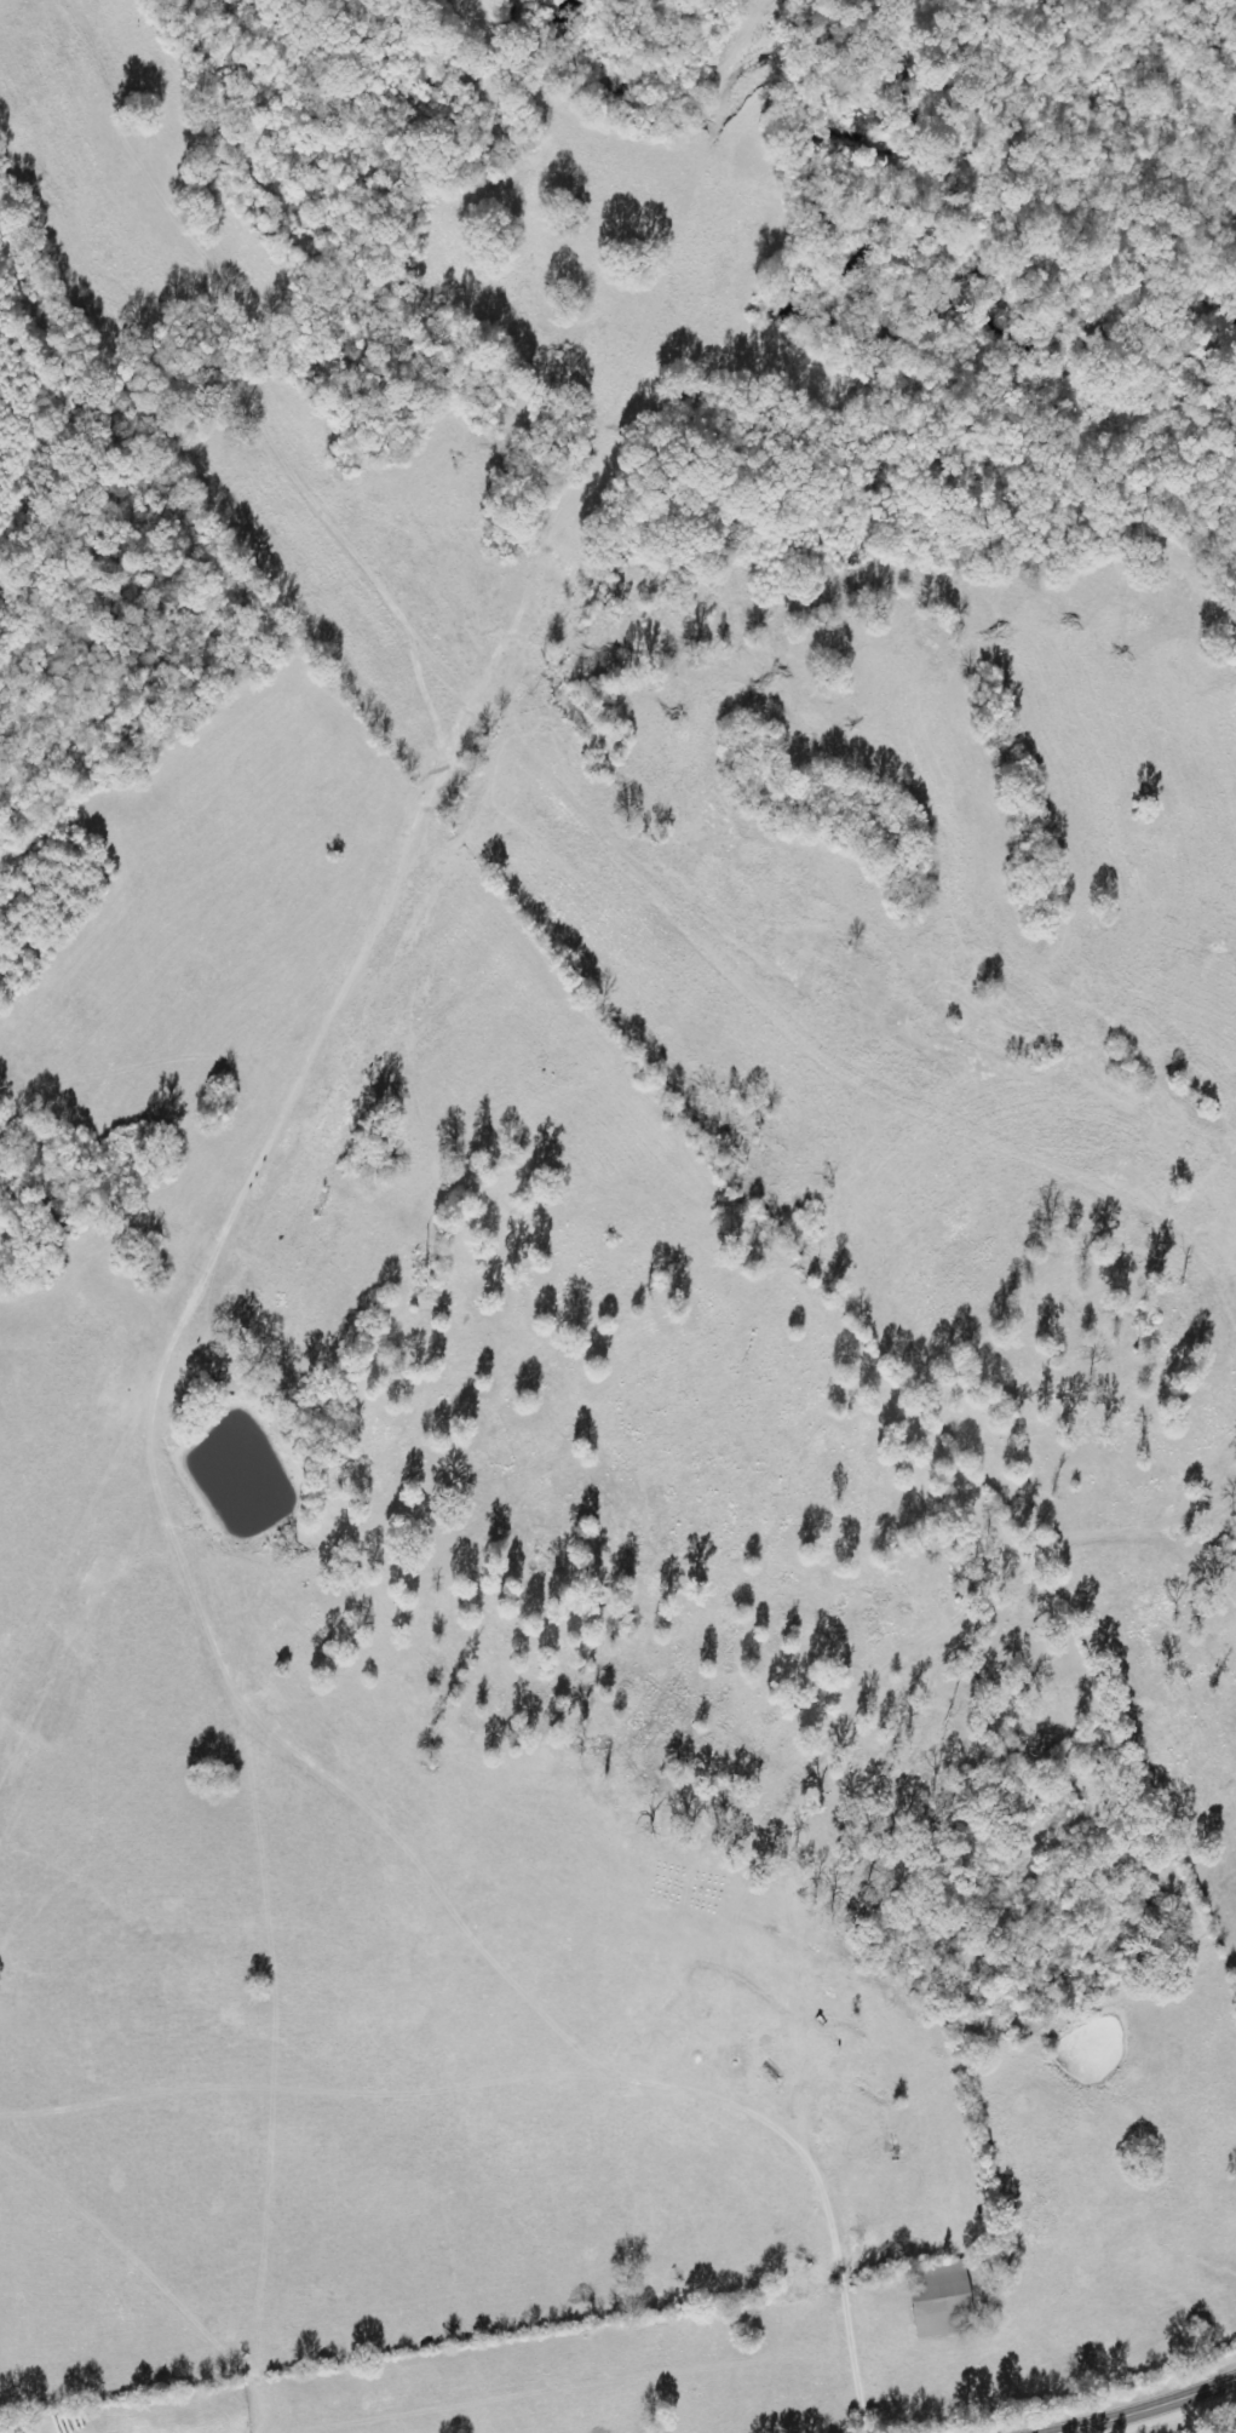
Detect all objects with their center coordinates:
road: (1151, 2410)

